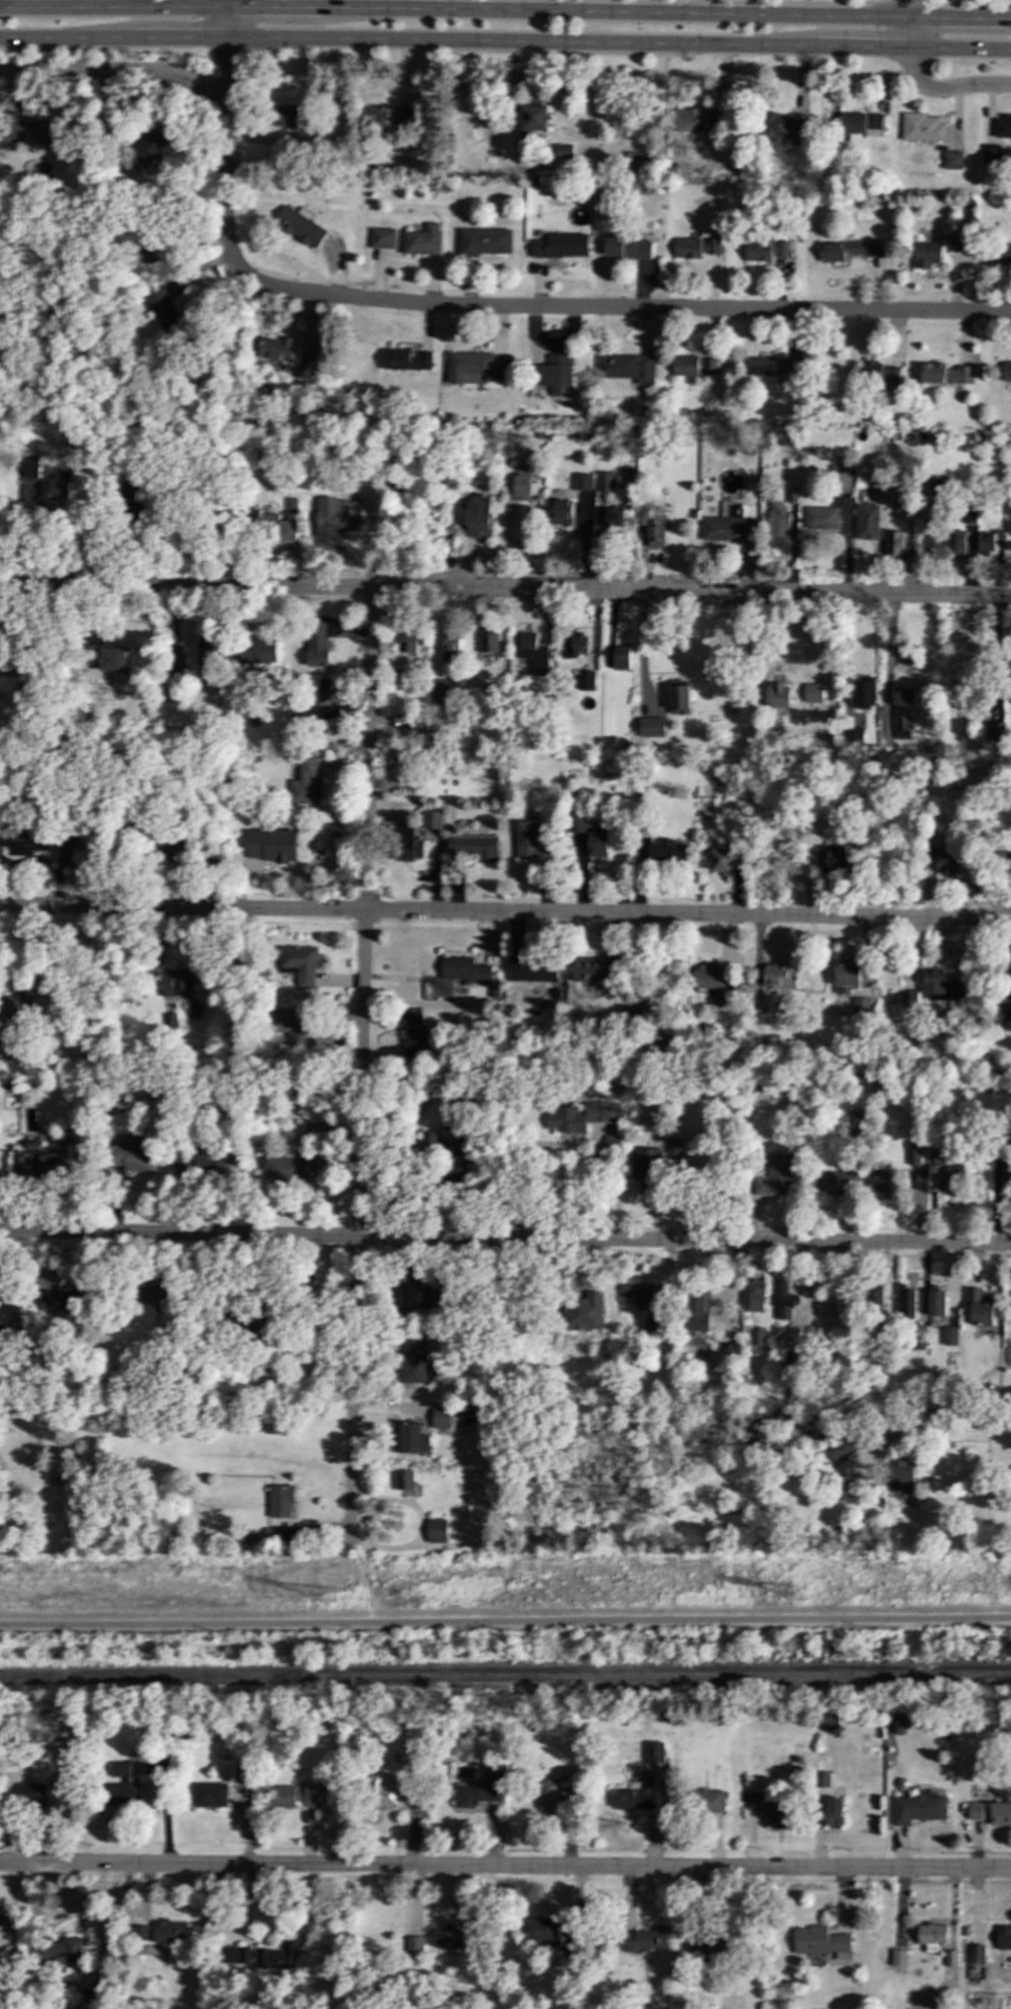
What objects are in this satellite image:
road: (698, 0)
road: (738, 1)
road: (227, 4)
road: (955, 5)
road: (113, 7)
road: (273, 8)
road: (911, 9)
road: (615, 12)
road: (1008, 17)
road: (958, 18)
road: (226, 23)
road: (910, 33)
road: (66, 38)
road: (179, 39)
road: (519, 44)
road: (862, 48)
road: (960, 49)
road: (113, 73)
road: (946, 90)
road: (655, 113)
building: (287, 116)
building: (533, 117)
building: (386, 119)
building: (696, 120)
building: (860, 123)
building: (783, 126)
building: (922, 127)
building: (1003, 127)
building: (26, 128)
building: (147, 148)
building: (563, 151)
building: (990, 153)
building: (951, 160)
building: (634, 161)
road: (225, 162)
building: (300, 225)
building: (382, 238)
building: (422, 240)
building: (484, 241)
building: (955, 243)
building: (147, 244)
building: (560, 245)
building: (694, 247)
building: (627, 248)
building: (764, 250)
building: (850, 250)
building: (1001, 252)
building: (927, 254)
building: (162, 299)
road: (626, 310)
building: (276, 350)
building: (406, 360)
building: (685, 365)
building: (759, 365)
building: (307, 366)
building: (478, 366)
building: (787, 366)
building: (627, 367)
building: (708, 367)
building: (1006, 370)
building: (880, 372)
building: (555, 373)
building: (945, 373)
building: (841, 479)
building: (28, 481)
building: (604, 481)
building: (876, 481)
building: (582, 482)
building: (59, 484)
building: (521, 487)
building: (931, 493)
building: (131, 498)
building: (291, 506)
building: (903, 508)
building: (561, 512)
building: (969, 514)
building: (479, 516)
building: (334, 517)
building: (820, 517)
building: (1009, 518)
building: (778, 520)
building: (866, 521)
building: (636, 523)
building: (287, 530)
building: (727, 530)
building: (989, 541)
building: (893, 544)
building: (955, 544)
building: (930, 546)
road: (505, 589)
building: (406, 643)
building: (488, 643)
building: (316, 644)
building: (573, 645)
building: (451, 649)
building: (254, 655)
building: (206, 656)
building: (530, 656)
building: (621, 656)
road: (841, 656)
road: (888, 659)
building: (113, 662)
road: (791, 663)
building: (1, 664)
building: (584, 680)
building: (326, 690)
building: (438, 693)
building: (812, 693)
building: (863, 694)
building: (777, 696)
building: (677, 700)
building: (901, 713)
building: (650, 727)
building: (993, 732)
building: (417, 733)
building: (305, 783)
building: (431, 820)
building: (575, 822)
building: (25, 840)
building: (407, 842)
building: (531, 844)
building: (596, 844)
building: (271, 845)
building: (474, 847)
building: (173, 849)
building: (666, 852)
building: (829, 857)
building: (942, 859)
building: (1007, 859)
building: (720, 860)
road: (505, 913)
building: (298, 964)
building: (532, 969)
building: (464, 970)
building: (592, 970)
building: (846, 975)
building: (778, 976)
building: (176, 982)
building: (714, 982)
building: (931, 991)
building: (144, 993)
building: (17, 1006)
building: (860, 1006)
building: (1004, 1012)
building: (293, 1026)
building: (413, 1043)
road: (361, 1067)
building: (578, 1116)
building: (317, 1129)
building: (611, 1143)
building: (678, 1148)
building: (911, 1153)
building: (937, 1156)
building: (133, 1158)
building: (198, 1160)
building: (35, 1165)
building: (645, 1167)
building: (285, 1168)
building: (775, 1175)
building: (954, 1180)
building: (878, 1182)
building: (1004, 1182)
building: (835, 1183)
road: (505, 1239)
building: (156, 1295)
building: (639, 1295)
building: (752, 1295)
building: (412, 1297)
building: (70, 1300)
building: (874, 1300)
building: (906, 1301)
building: (785, 1302)
building: (49, 1303)
building: (936, 1303)
building: (978, 1307)
building: (697, 1311)
building: (9, 1312)
building: (584, 1312)
building: (652, 1326)
building: (948, 1335)
building: (757, 1336)
building: (414, 1358)
building: (791, 1363)
building: (440, 1417)
road: (925, 1434)
building: (410, 1438)
building: (841, 1449)
building: (900, 1476)
building: (405, 1482)
building: (280, 1500)
road: (421, 1526)
building: (436, 1531)
power tower: (328, 1597)
power tower: (800, 1597)
road: (505, 1621)
railway: (505, 1677)
building: (830, 1722)
building: (898, 1725)
building: (654, 1752)
building: (244, 1775)
building: (821, 1779)
building: (122, 1786)
building: (480, 1790)
building: (389, 1793)
building: (32, 1794)
building: (553, 1794)
building: (209, 1795)
building: (636, 1795)
building: (294, 1797)
building: (751, 1800)
building: (708, 1801)
building: (916, 1809)
building: (833, 1812)
building: (990, 1813)
building: (777, 1814)
road: (505, 1867)
building: (540, 1929)
building: (162, 1932)
building: (932, 1937)
building: (1003, 1937)
building: (450, 1939)
building: (646, 1939)
building: (820, 1941)
building: (414, 1945)
building: (707, 1947)
building: (66, 1949)
building: (974, 1953)
building: (261, 1956)
building: (898, 1957)
building: (950, 1959)
building: (86, 2003)

